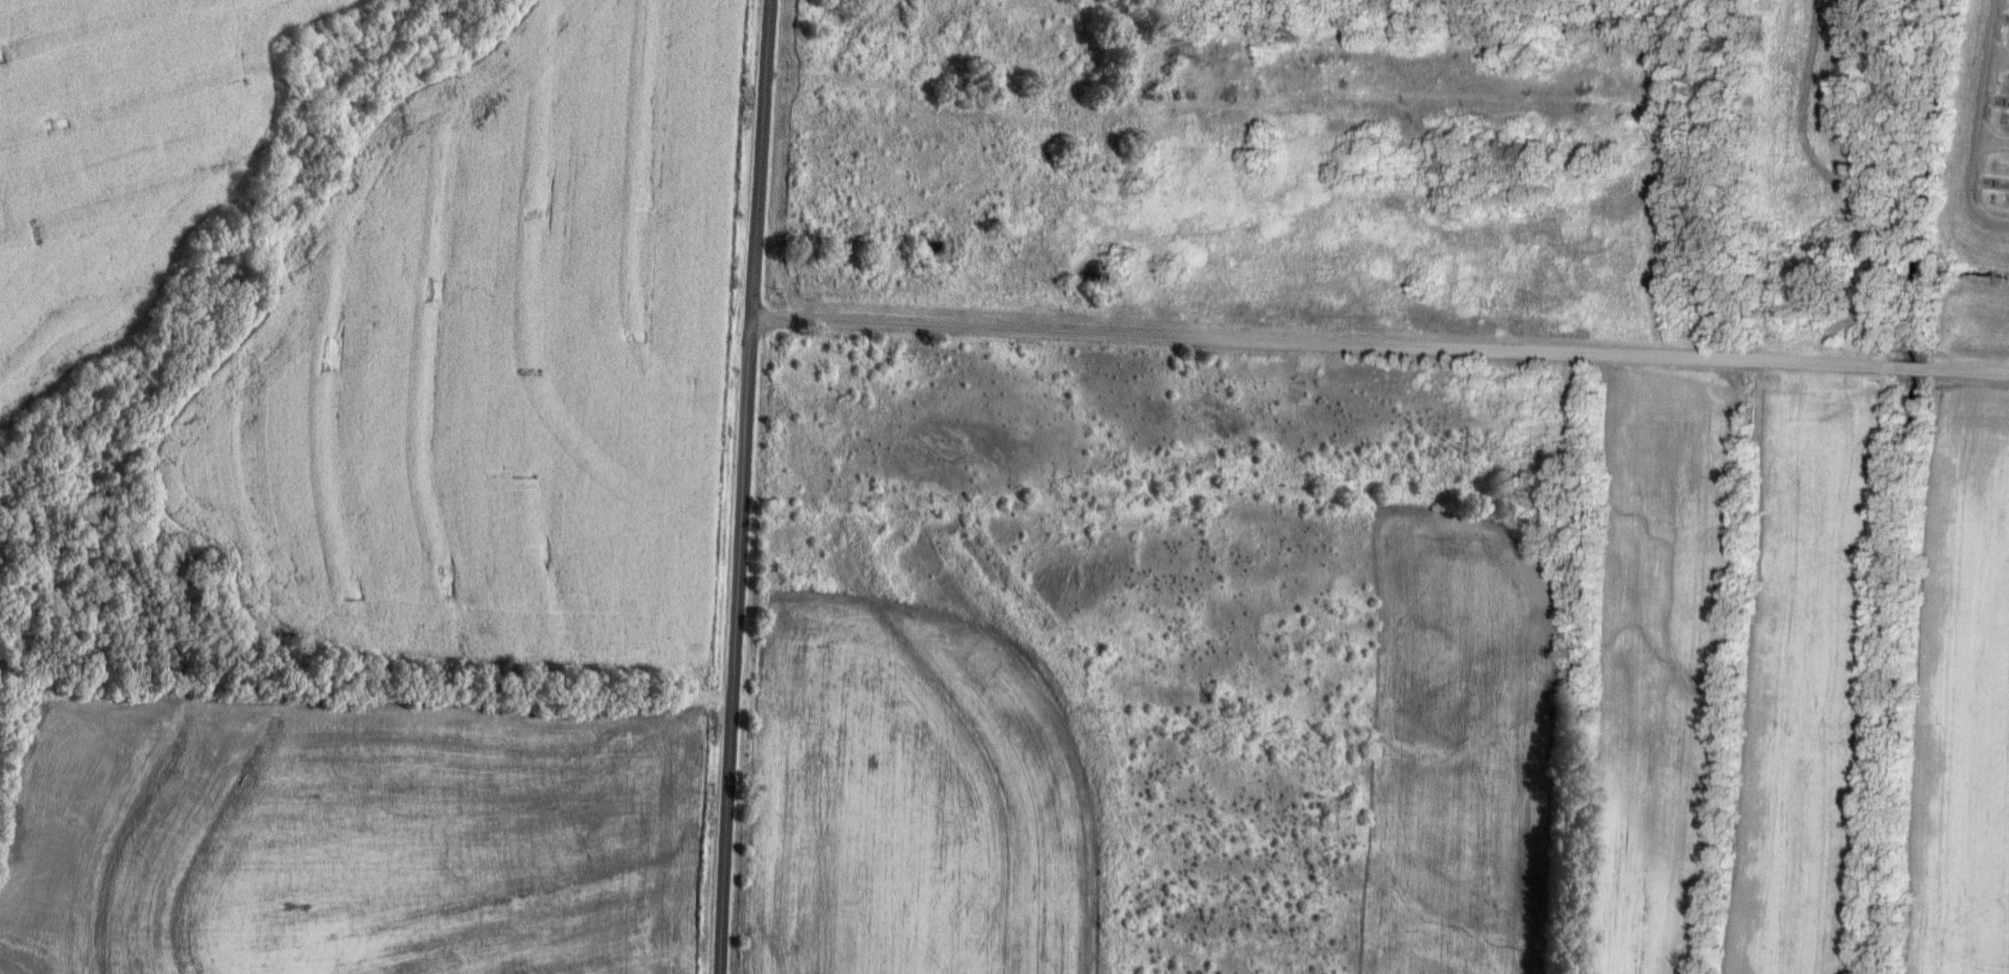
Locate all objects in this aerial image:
road: (1978, 126)
road: (1383, 342)
road: (749, 486)

